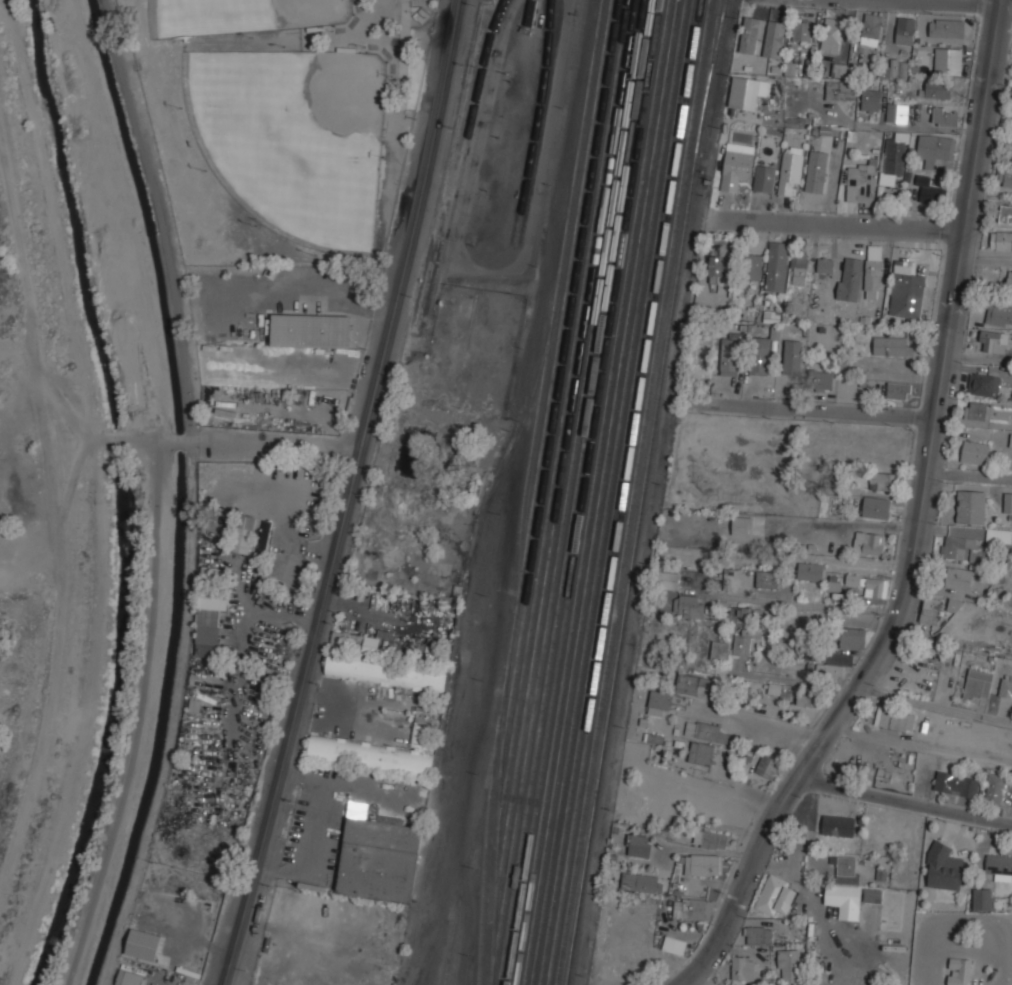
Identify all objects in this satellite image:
road: (965, 2)
building: (531, 13)
park: (244, 16)
building: (946, 27)
building: (801, 29)
building: (871, 29)
building: (905, 30)
building: (831, 33)
building: (751, 34)
building: (948, 59)
building: (894, 68)
building: (839, 70)
railway: (710, 76)
railway: (709, 77)
building: (840, 89)
building: (937, 89)
building: (743, 92)
building: (870, 99)
building: (896, 112)
building: (944, 115)
railway: (536, 121)
park: (280, 122)
park: (294, 135)
building: (1010, 143)
building: (934, 146)
building: (894, 156)
building: (736, 165)
building: (790, 170)
building: (816, 171)
railway: (456, 173)
building: (1005, 176)
building: (764, 177)
building: (861, 184)
building: (930, 191)
railway: (596, 201)
railway: (650, 201)
railway: (667, 201)
railway: (613, 202)
railway: (629, 202)
railway: (638, 202)
building: (1003, 213)
road: (160, 219)
road: (836, 223)
railway: (654, 227)
railway: (617, 228)
railway: (600, 229)
railway: (639, 229)
building: (1000, 240)
building: (750, 265)
building: (776, 265)
building: (825, 265)
building: (720, 266)
building: (798, 268)
building: (873, 270)
building: (849, 277)
building: (1009, 281)
building: (906, 288)
railway: (565, 298)
railway: (671, 313)
building: (999, 313)
building: (770, 315)
building: (310, 331)
building: (992, 340)
building: (893, 345)
building: (730, 355)
building: (759, 356)
building: (792, 356)
building: (701, 358)
railway: (562, 376)
building: (821, 379)
building: (983, 384)
building: (898, 389)
building: (987, 410)
road: (809, 411)
road: (177, 441)
road: (274, 446)
building: (975, 452)
railway: (506, 454)
road: (970, 476)
building: (883, 480)
railway: (525, 490)
railway: (631, 492)
road: (349, 493)
building: (1007, 502)
building: (876, 506)
building: (971, 506)
road: (919, 522)
building: (741, 524)
building: (242, 533)
building: (264, 537)
building: (869, 542)
building: (954, 547)
building: (980, 554)
building: (810, 570)
building: (214, 571)
building: (957, 577)
building: (766, 578)
building: (667, 579)
building: (870, 584)
building: (688, 604)
building: (954, 605)
building: (931, 608)
railway: (533, 611)
building: (740, 612)
building: (208, 623)
road: (59, 628)
building: (852, 638)
building: (746, 639)
building: (719, 650)
building: (834, 663)
building: (386, 674)
railway: (531, 679)
road: (797, 681)
building: (692, 683)
building: (977, 684)
railway: (537, 687)
building: (1005, 688)
building: (779, 690)
railway: (560, 694)
railway: (574, 694)
railway: (593, 694)
railway: (553, 695)
building: (803, 697)
building: (658, 702)
road: (934, 705)
road: (140, 717)
building: (893, 718)
railway: (579, 720)
railway: (540, 721)
railway: (562, 721)
road: (756, 722)
railway: (606, 729)
building: (705, 730)
building: (419, 736)
road: (922, 738)
building: (700, 752)
building: (370, 755)
building: (767, 765)
building: (956, 784)
building: (994, 788)
road: (903, 801)
building: (838, 826)
railway: (498, 829)
building: (709, 838)
building: (639, 845)
building: (378, 858)
railway: (468, 859)
building: (698, 863)
building: (999, 867)
building: (944, 868)
building: (845, 869)
building: (635, 881)
building: (872, 896)
building: (982, 899)
building: (844, 901)
building: (693, 907)
railway: (444, 921)
building: (759, 936)
building: (143, 944)
building: (674, 945)
building: (789, 966)
building: (743, 969)
building: (959, 971)
railway: (417, 975)
building: (128, 978)

